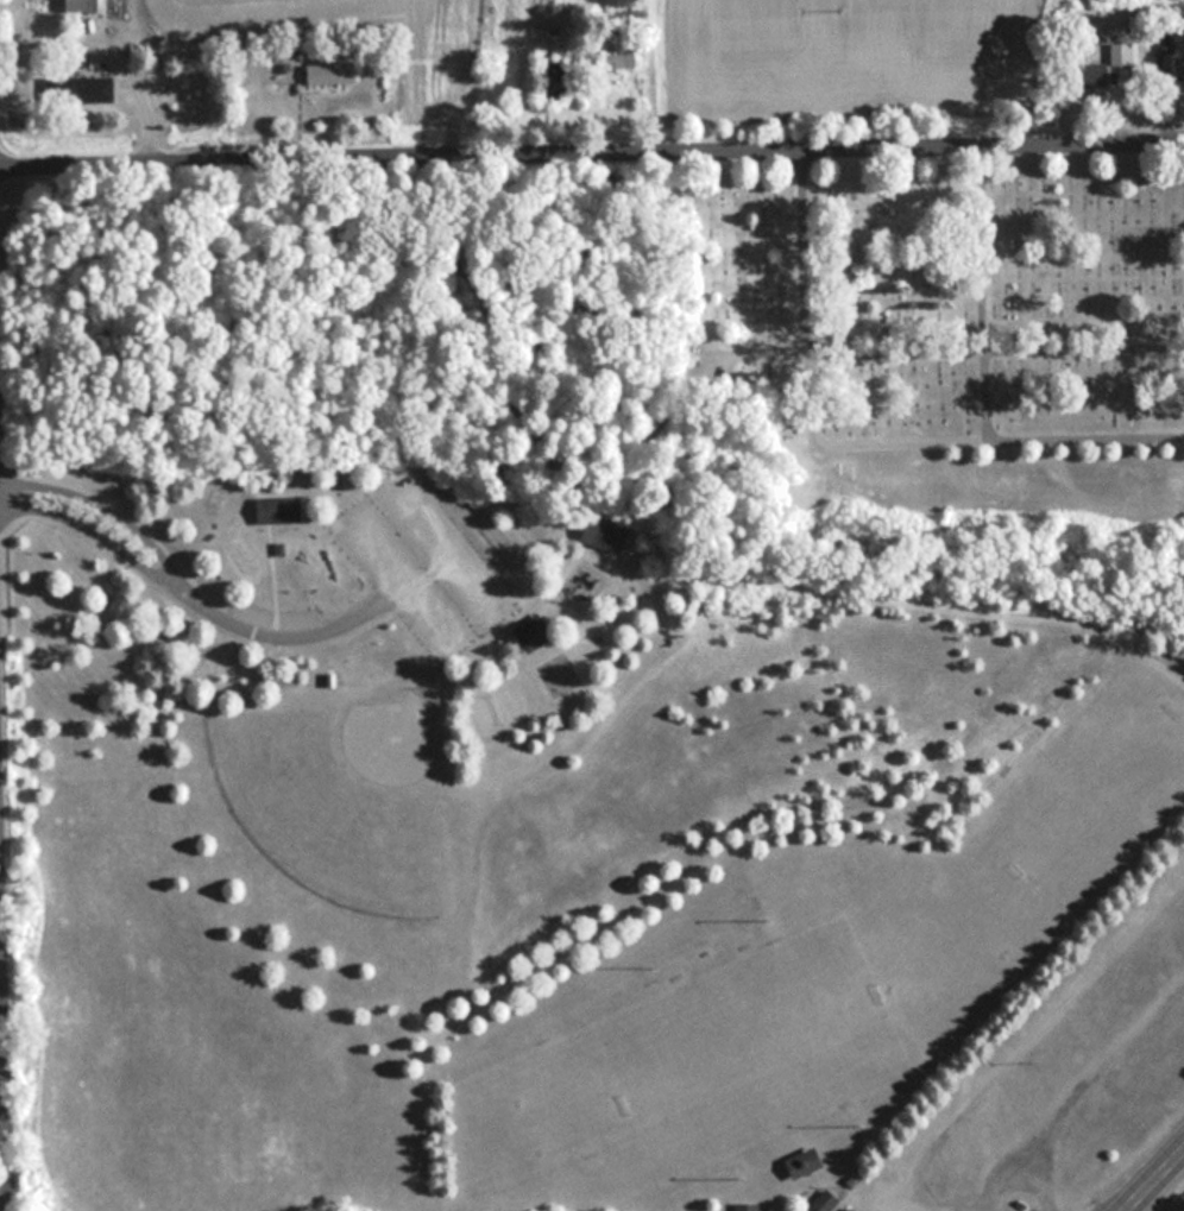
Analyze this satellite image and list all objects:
building: (1117, 53)
building: (1176, 68)
building: (333, 72)
building: (1087, 77)
building: (82, 89)
road: (591, 154)
road: (269, 241)
road: (978, 253)
road: (990, 269)
park: (934, 351)
road: (888, 357)
road: (97, 505)
building: (279, 511)
road: (360, 523)
road: (88, 529)
building: (607, 535)
parking lot: (421, 561)
building: (535, 632)
building: (556, 674)
park: (512, 752)
road: (5, 1048)
building: (793, 1163)
road: (1159, 1186)
road: (1172, 1193)
building: (818, 1201)
building: (739, 1206)

